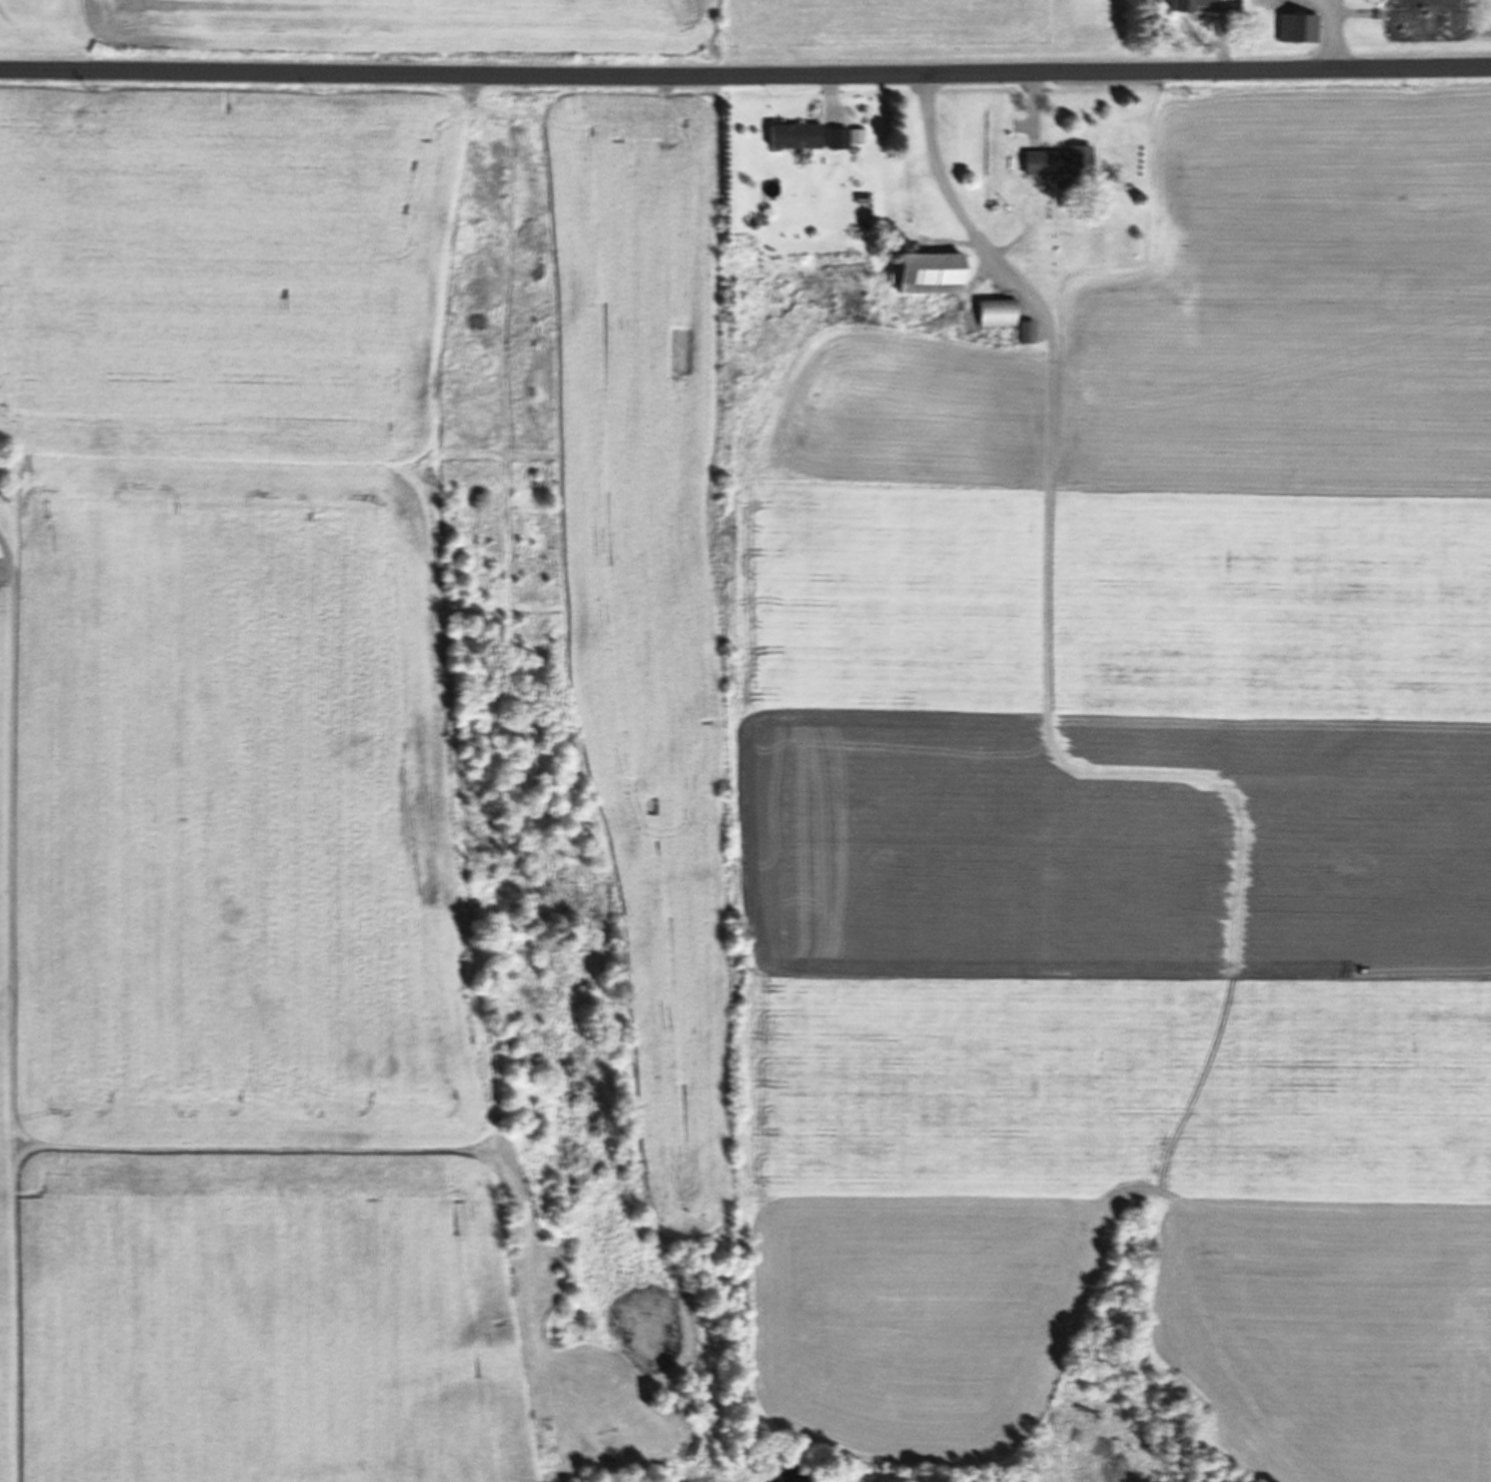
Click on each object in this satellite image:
building: (1203, 5)
building: (1296, 27)
road: (745, 72)
building: (793, 134)
building: (1057, 162)
building: (926, 273)
building: (994, 313)
building: (1024, 332)
road: (7, 1010)
road: (245, 1146)

